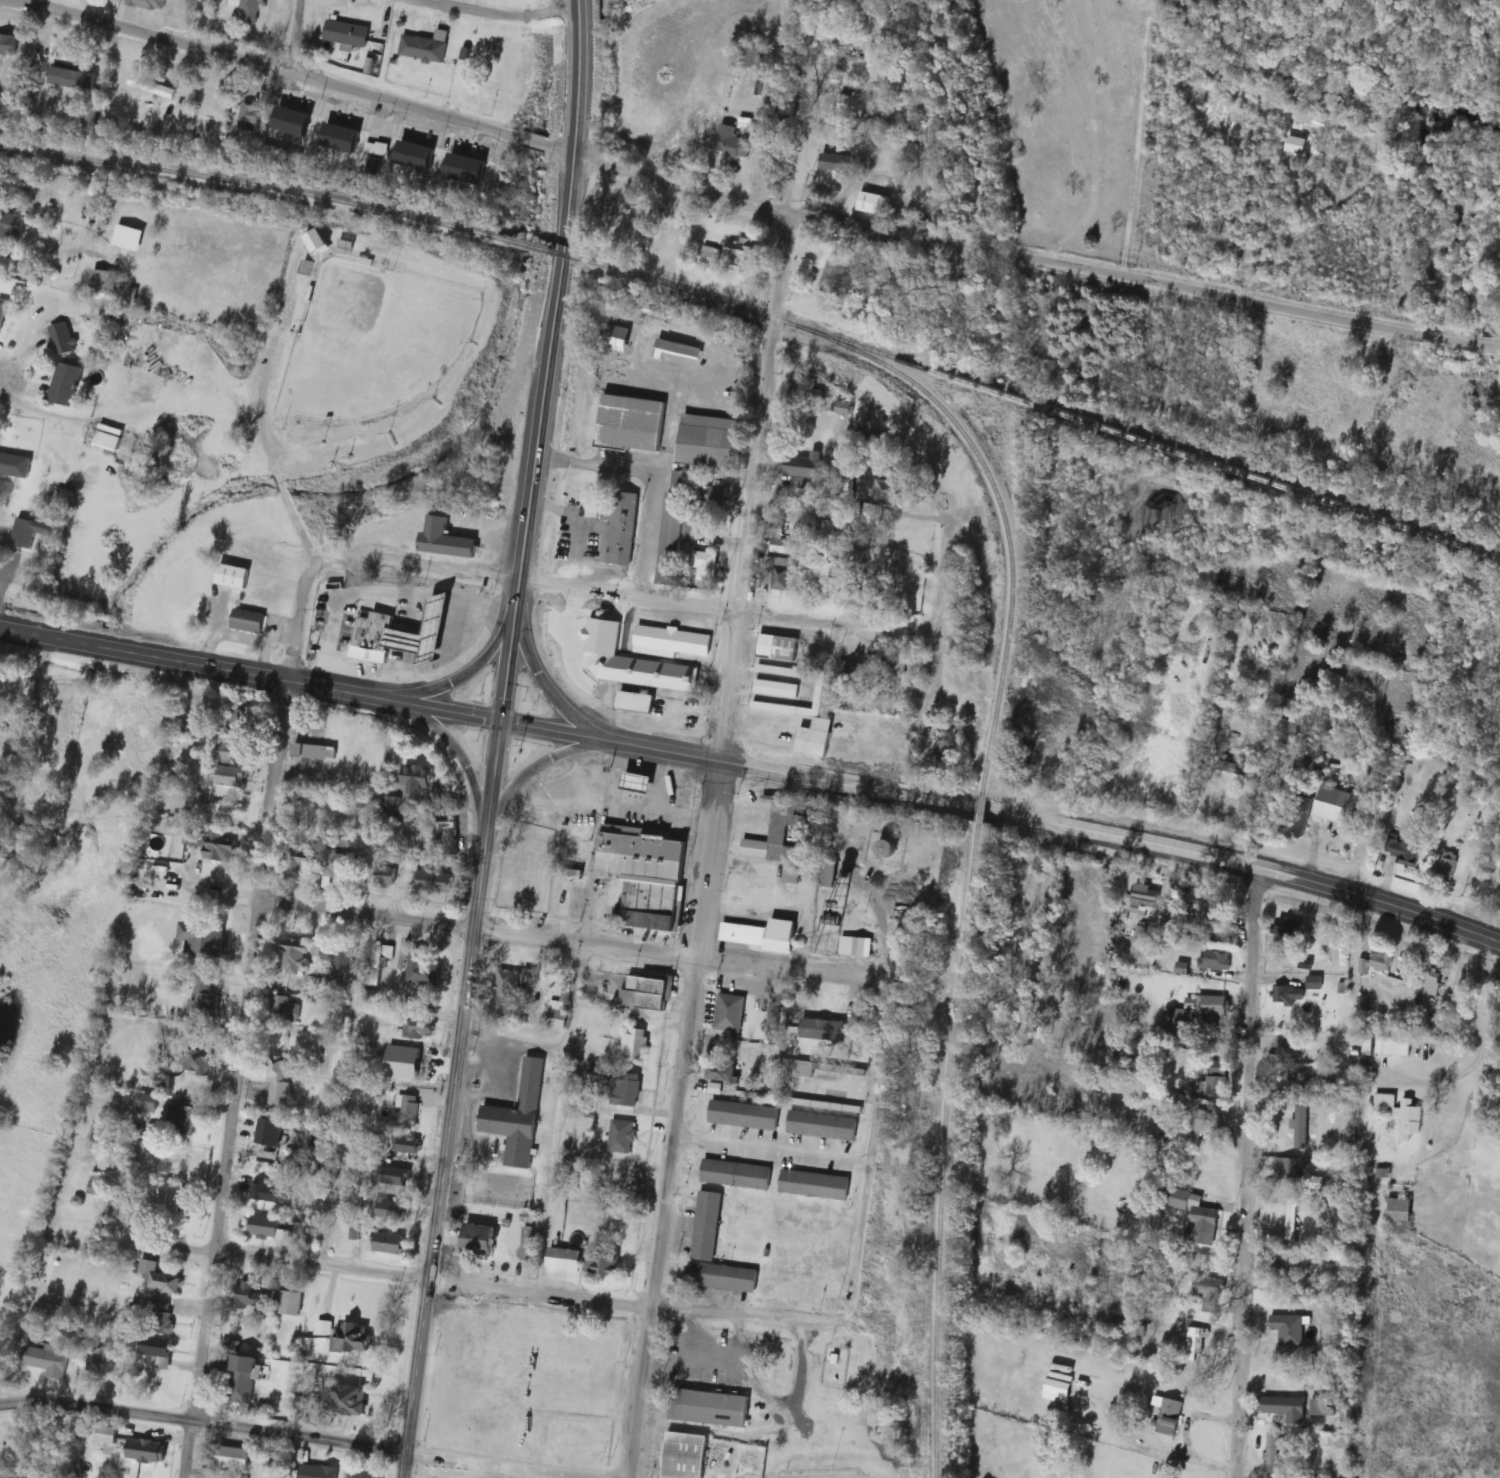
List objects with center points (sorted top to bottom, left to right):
road: (35, 3)
building: (148, 4)
building: (252, 12)
road: (499, 15)
building: (347, 33)
road: (295, 37)
building: (8, 44)
building: (425, 47)
building: (75, 55)
building: (755, 55)
building: (152, 86)
road: (392, 104)
building: (851, 105)
building: (90, 116)
building: (248, 116)
building: (292, 121)
building: (341, 137)
building: (733, 146)
road: (793, 150)
building: (415, 155)
building: (834, 162)
building: (466, 168)
railway: (273, 189)
building: (874, 203)
building: (11, 229)
building: (658, 235)
building: (740, 251)
railway: (556, 252)
building: (709, 254)
building: (833, 272)
building: (99, 279)
road: (1142, 279)
railway: (681, 290)
railway: (1016, 309)
building: (2, 312)
building: (64, 345)
road: (4, 377)
building: (66, 383)
building: (806, 388)
building: (843, 407)
road: (257, 413)
building: (632, 423)
railway: (964, 437)
building: (107, 440)
building: (709, 441)
railway: (1147, 442)
building: (14, 465)
road: (534, 465)
building: (803, 469)
road: (651, 479)
building: (890, 490)
building: (713, 495)
building: (620, 526)
building: (31, 531)
building: (675, 537)
building: (447, 539)
building: (783, 546)
building: (705, 565)
building: (233, 575)
building: (781, 577)
building: (819, 577)
building: (907, 585)
road: (743, 586)
road: (625, 595)
road: (221, 611)
road: (936, 619)
building: (249, 620)
building: (370, 628)
building: (422, 628)
gas station: (422, 628)
road: (278, 629)
road: (241, 637)
building: (671, 641)
building: (778, 647)
building: (364, 652)
building: (892, 667)
building: (847, 670)
road: (461, 674)
building: (594, 679)
building: (776, 688)
building: (633, 690)
road: (34, 691)
road: (362, 693)
road: (550, 693)
railway: (992, 716)
traffic signals: (499, 718)
building: (819, 718)
building: (238, 723)
road: (278, 727)
road: (451, 744)
building: (315, 751)
road: (543, 762)
building: (227, 768)
building: (418, 778)
building: (633, 779)
gas station: (633, 779)
road: (848, 786)
building: (1334, 804)
building: (356, 807)
building: (393, 808)
building: (224, 811)
railway: (981, 811)
road: (980, 812)
building: (1300, 816)
building: (443, 839)
building: (219, 846)
building: (885, 847)
building: (1407, 850)
road: (1312, 851)
building: (765, 857)
building: (300, 859)
road: (1238, 862)
building: (1446, 866)
building: (340, 867)
building: (641, 871)
building: (827, 873)
building: (385, 876)
building: (433, 881)
building: (1146, 897)
building: (745, 903)
building: (1210, 911)
building: (1288, 928)
building: (759, 932)
building: (204, 937)
road: (882, 940)
road: (1491, 940)
road: (567, 942)
building: (865, 947)
building: (295, 958)
building: (1215, 960)
building: (1304, 963)
building: (1376, 963)
building: (343, 968)
building: (421, 971)
building: (1431, 981)
building: (1314, 983)
building: (513, 984)
building: (645, 993)
building: (1286, 995)
building: (203, 999)
building: (1215, 1004)
building: (285, 1009)
building: (559, 1013)
building: (729, 1013)
building: (772, 1019)
building: (1184, 1021)
building: (419, 1028)
building: (633, 1044)
building: (1383, 1045)
building: (1289, 1047)
road: (1481, 1052)
building: (197, 1062)
building: (803, 1068)
building: (722, 1071)
building: (279, 1081)
building: (1304, 1086)
building: (622, 1089)
building: (408, 1111)
building: (1400, 1114)
building: (744, 1116)
building: (518, 1117)
road: (557, 1119)
building: (182, 1120)
building: (822, 1125)
building: (1300, 1130)
building: (270, 1132)
building: (319, 1137)
building: (621, 1137)
building: (408, 1146)
road: (771, 1146)
railway: (942, 1150)
building: (1291, 1171)
road: (867, 1172)
road: (1243, 1172)
building: (736, 1174)
building: (400, 1177)
building: (99, 1185)
building: (814, 1185)
road: (220, 1188)
building: (270, 1194)
building: (166, 1201)
road: (437, 1203)
building: (1399, 1210)
road: (662, 1218)
building: (1197, 1218)
building: (1291, 1218)
building: (270, 1229)
building: (480, 1240)
building: (388, 1243)
building: (526, 1243)
building: (714, 1251)
building: (565, 1259)
building: (602, 1263)
building: (159, 1279)
road: (506, 1289)
building: (1211, 1293)
building: (249, 1296)
building: (290, 1304)
building: (163, 1317)
building: (323, 1327)
building: (1288, 1330)
building: (351, 1336)
building: (1196, 1341)
building: (159, 1349)
building: (45, 1360)
building: (102, 1361)
road: (794, 1370)
building: (243, 1377)
building: (347, 1399)
building: (709, 1407)
building: (1292, 1408)
building: (1169, 1420)
road: (1187, 1433)
road: (297, 1435)
road: (1122, 1439)
building: (147, 1450)
building: (1271, 1451)
building: (685, 1455)
building: (234, 1457)
building: (277, 1461)
building: (317, 1471)
building: (362, 1474)

